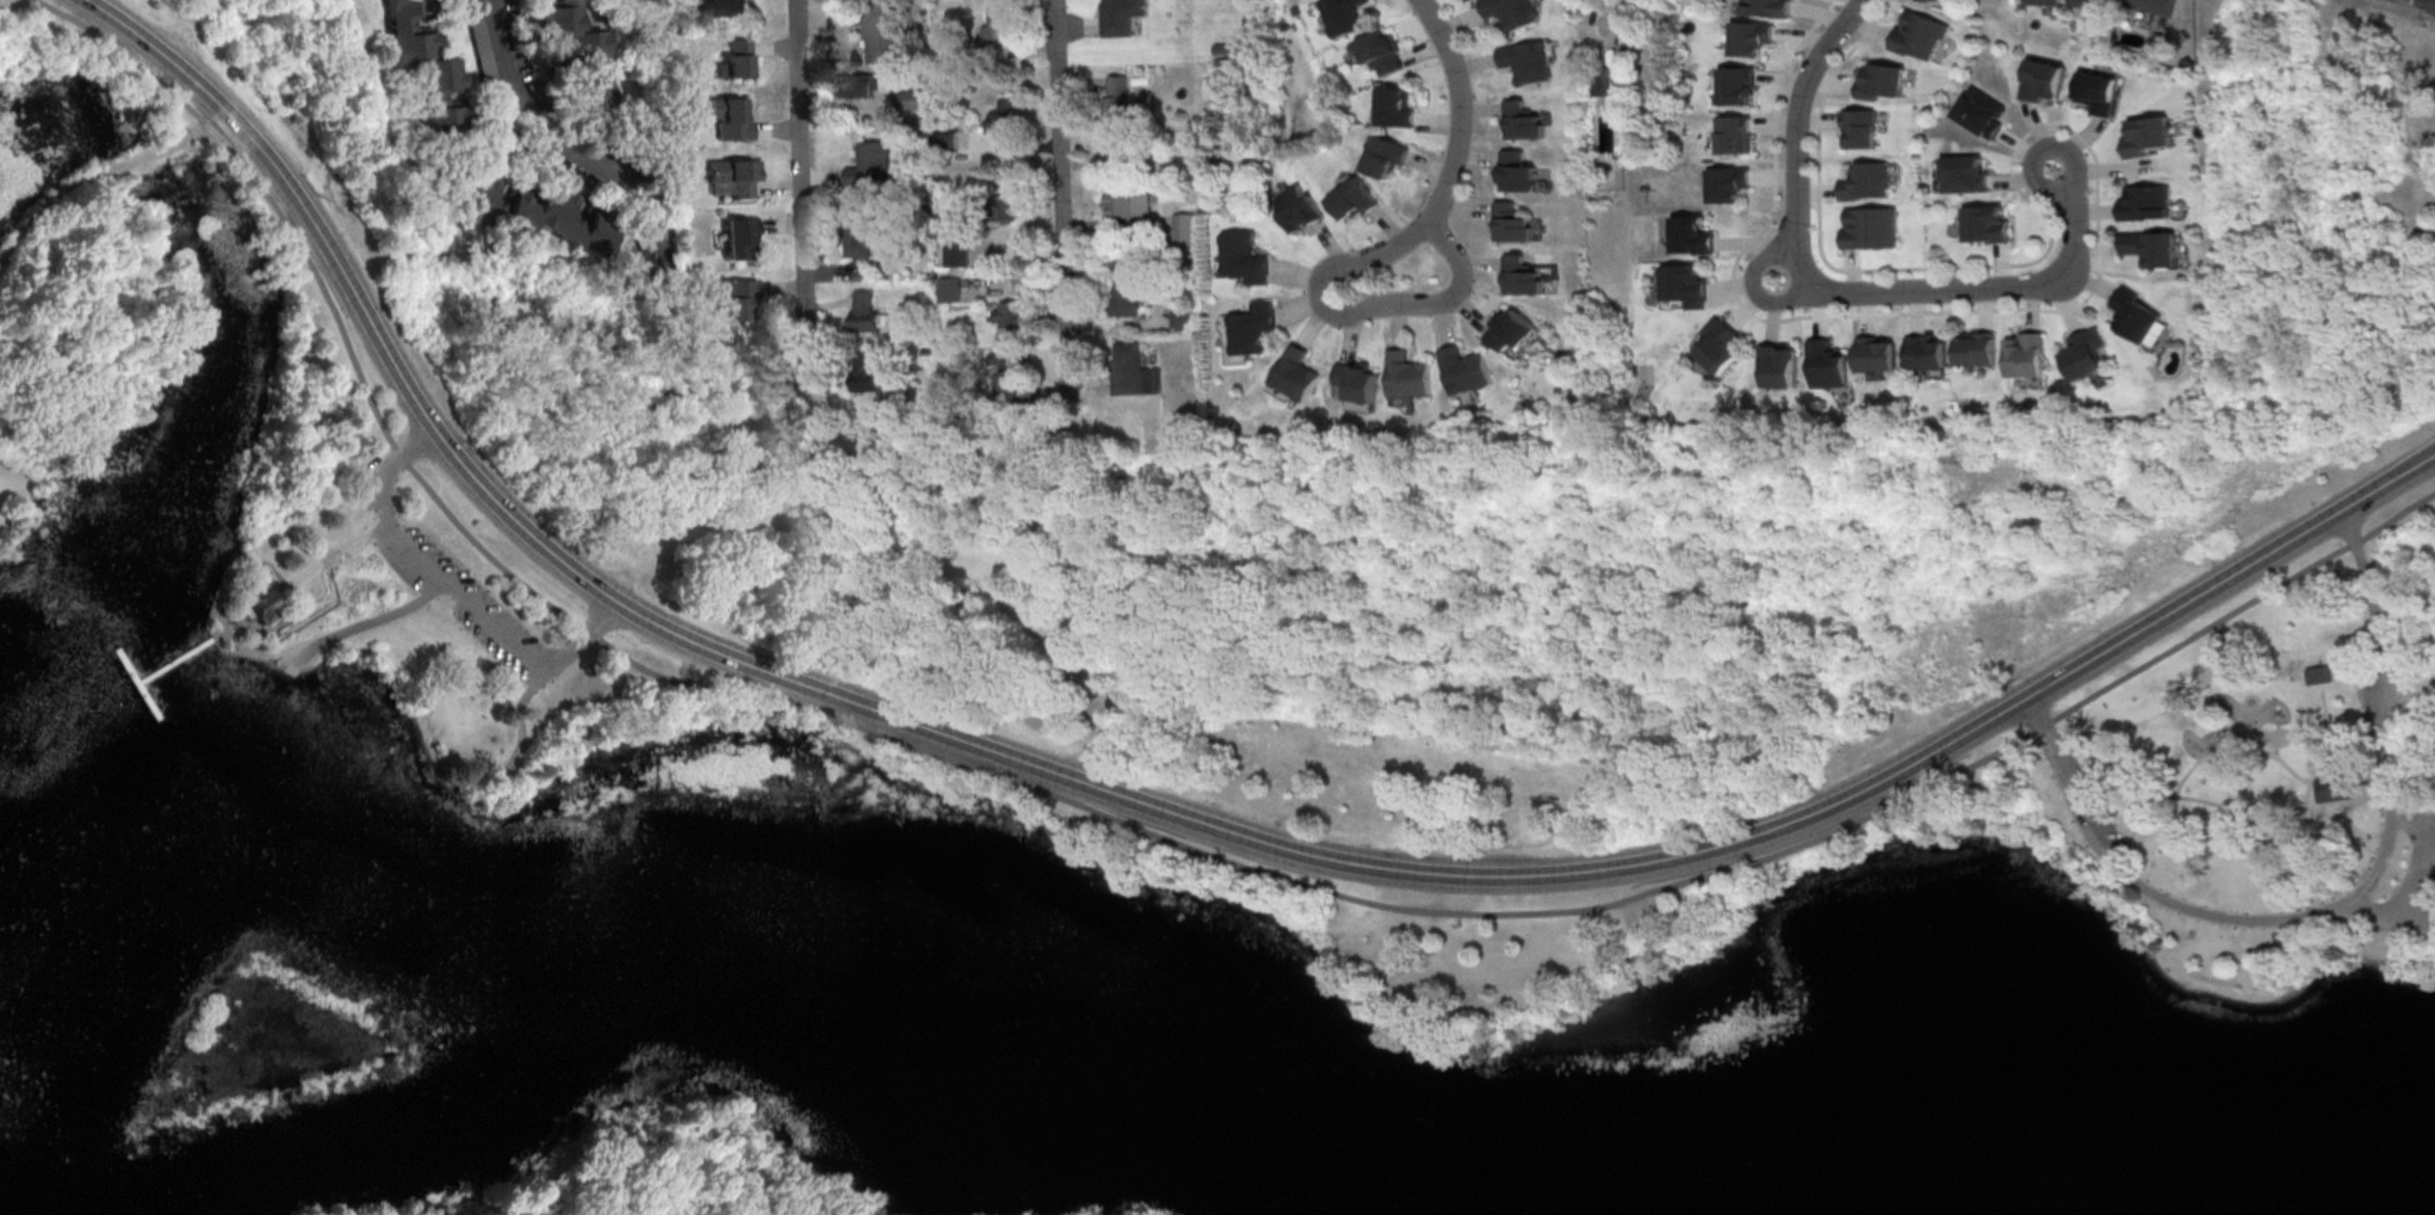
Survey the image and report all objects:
building: (2041, 1)
building: (2090, 2)
building: (2152, 6)
building: (727, 7)
building: (1766, 7)
building: (1513, 12)
building: (1121, 16)
building: (1345, 16)
building: (999, 23)
building: (881, 30)
building: (1919, 35)
building: (1751, 37)
building: (577, 51)
building: (1384, 51)
building: (733, 61)
building: (1526, 62)
park: (82, 64)
building: (425, 67)
building: (2041, 79)
building: (1603, 81)
building: (1881, 81)
building: (1737, 85)
building: (856, 86)
building: (2096, 91)
building: (912, 100)
building: (1115, 100)
building: (1399, 107)
road: (1462, 111)
building: (1982, 111)
building: (733, 120)
building: (1002, 120)
building: (1523, 122)
building: (1860, 128)
building: (1734, 134)
building: (2148, 136)
building: (948, 142)
road: (562, 143)
building: (1387, 156)
road: (1058, 157)
building: (870, 163)
building: (1519, 172)
building: (1965, 173)
building: (733, 175)
road: (89, 179)
building: (1866, 181)
building: (1727, 184)
building: (475, 192)
road: (801, 194)
building: (1355, 199)
building: (1127, 203)
building: (2148, 203)
building: (1008, 207)
building: (1300, 209)
building: (557, 219)
building: (1513, 223)
building: (1987, 224)
building: (1871, 228)
building: (1185, 230)
building: (1692, 235)
building: (737, 237)
building: (859, 240)
building: (2151, 247)
building: (958, 255)
building: (1246, 258)
road: (1993, 266)
building: (1522, 277)
building: (1686, 284)
road: (1754, 287)
building: (950, 290)
road: (1842, 295)
road: (1737, 298)
building: (733, 299)
building: (1126, 299)
road: (1402, 302)
building: (863, 311)
building: (2137, 314)
building: (1010, 318)
building: (1183, 321)
building: (1252, 329)
building: (1510, 329)
building: (1720, 345)
building: (1977, 348)
building: (1927, 352)
building: (2086, 353)
building: (1877, 354)
building: (2026, 354)
road: (1064, 358)
building: (1780, 365)
building: (1828, 365)
building: (865, 370)
building: (1466, 370)
building: (1133, 371)
building: (1297, 374)
building: (1409, 377)
building: (1359, 380)
building: (1010, 384)
park: (321, 485)
road: (906, 503)
road: (328, 556)
pier: (213, 584)
parking lot: (451, 588)
road: (454, 593)
building: (259, 605)
road: (364, 622)
road: (285, 633)
road: (269, 651)
road: (287, 653)
pier: (175, 667)
building: (2316, 672)
road: (2414, 684)
pier: (137, 690)
parking lot: (2377, 698)
road: (2324, 709)
road: (515, 732)
road: (2324, 740)
road: (1494, 744)
road: (2220, 751)
road: (2292, 771)
parking lot: (2072, 773)
building: (2334, 787)
park: (2250, 804)
road: (2322, 805)
road: (1154, 807)
road: (2268, 813)
road: (1119, 822)
parking lot: (2111, 842)
park: (1252, 861)
parking lot: (2416, 884)
road: (2423, 887)
road: (2335, 910)
road: (2421, 931)
river: (1239, 1039)
road: (665, 1132)
road: (665, 1202)

